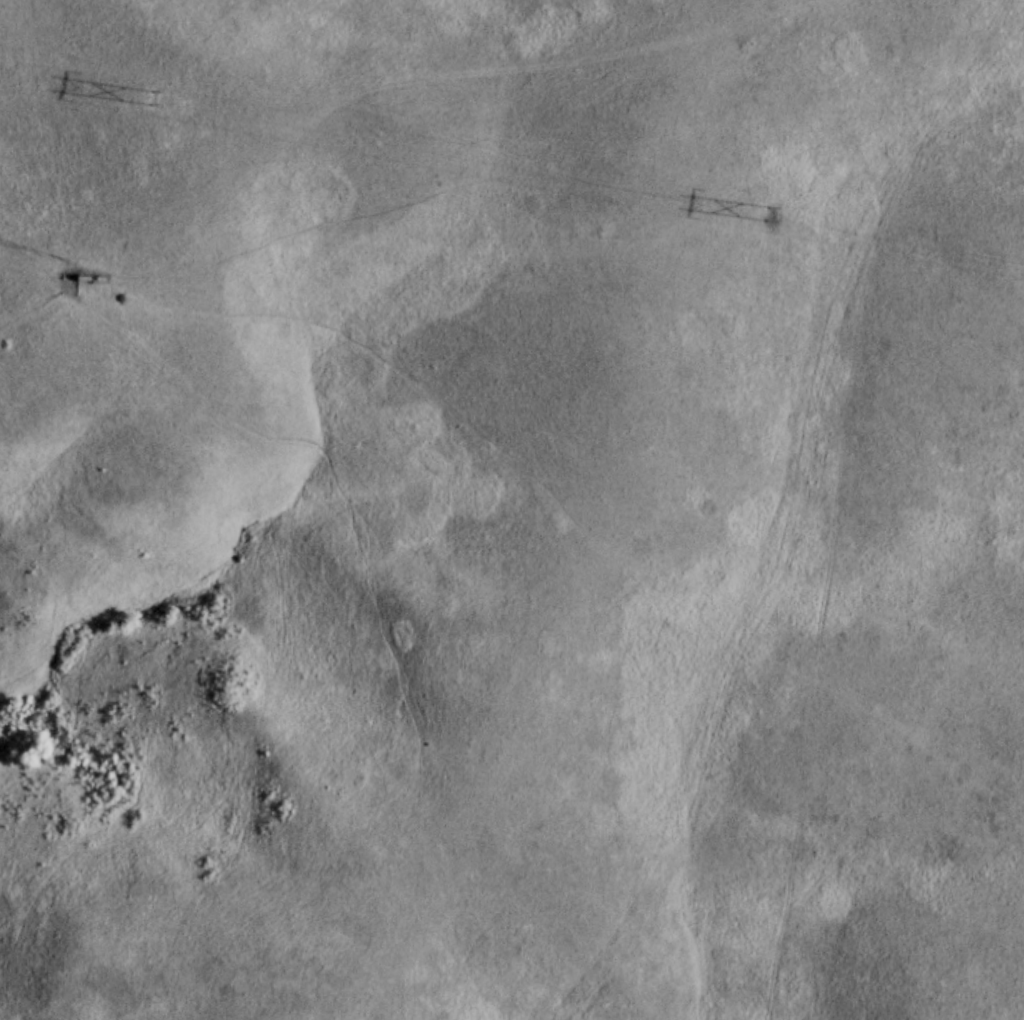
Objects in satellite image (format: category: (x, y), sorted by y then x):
power tower: (149, 98)
power tower: (767, 213)

